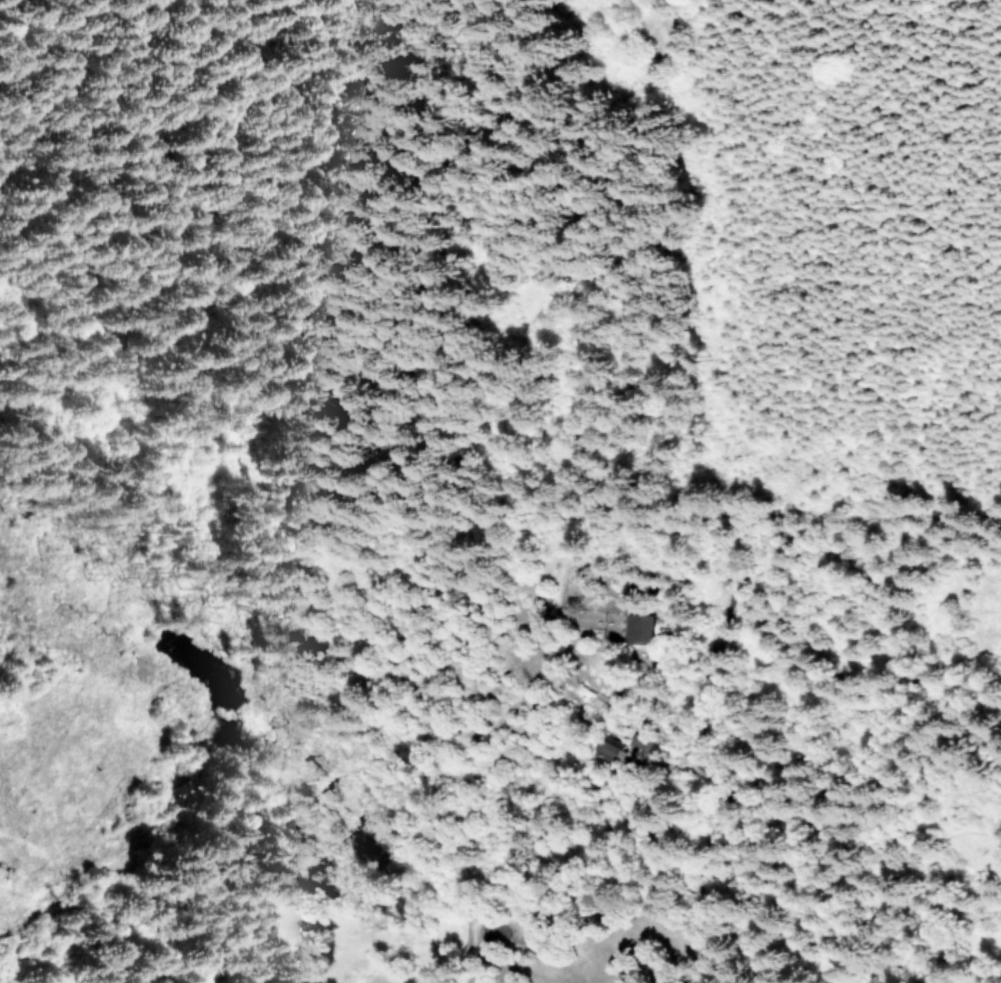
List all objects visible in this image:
building: (639, 625)
building: (610, 751)

